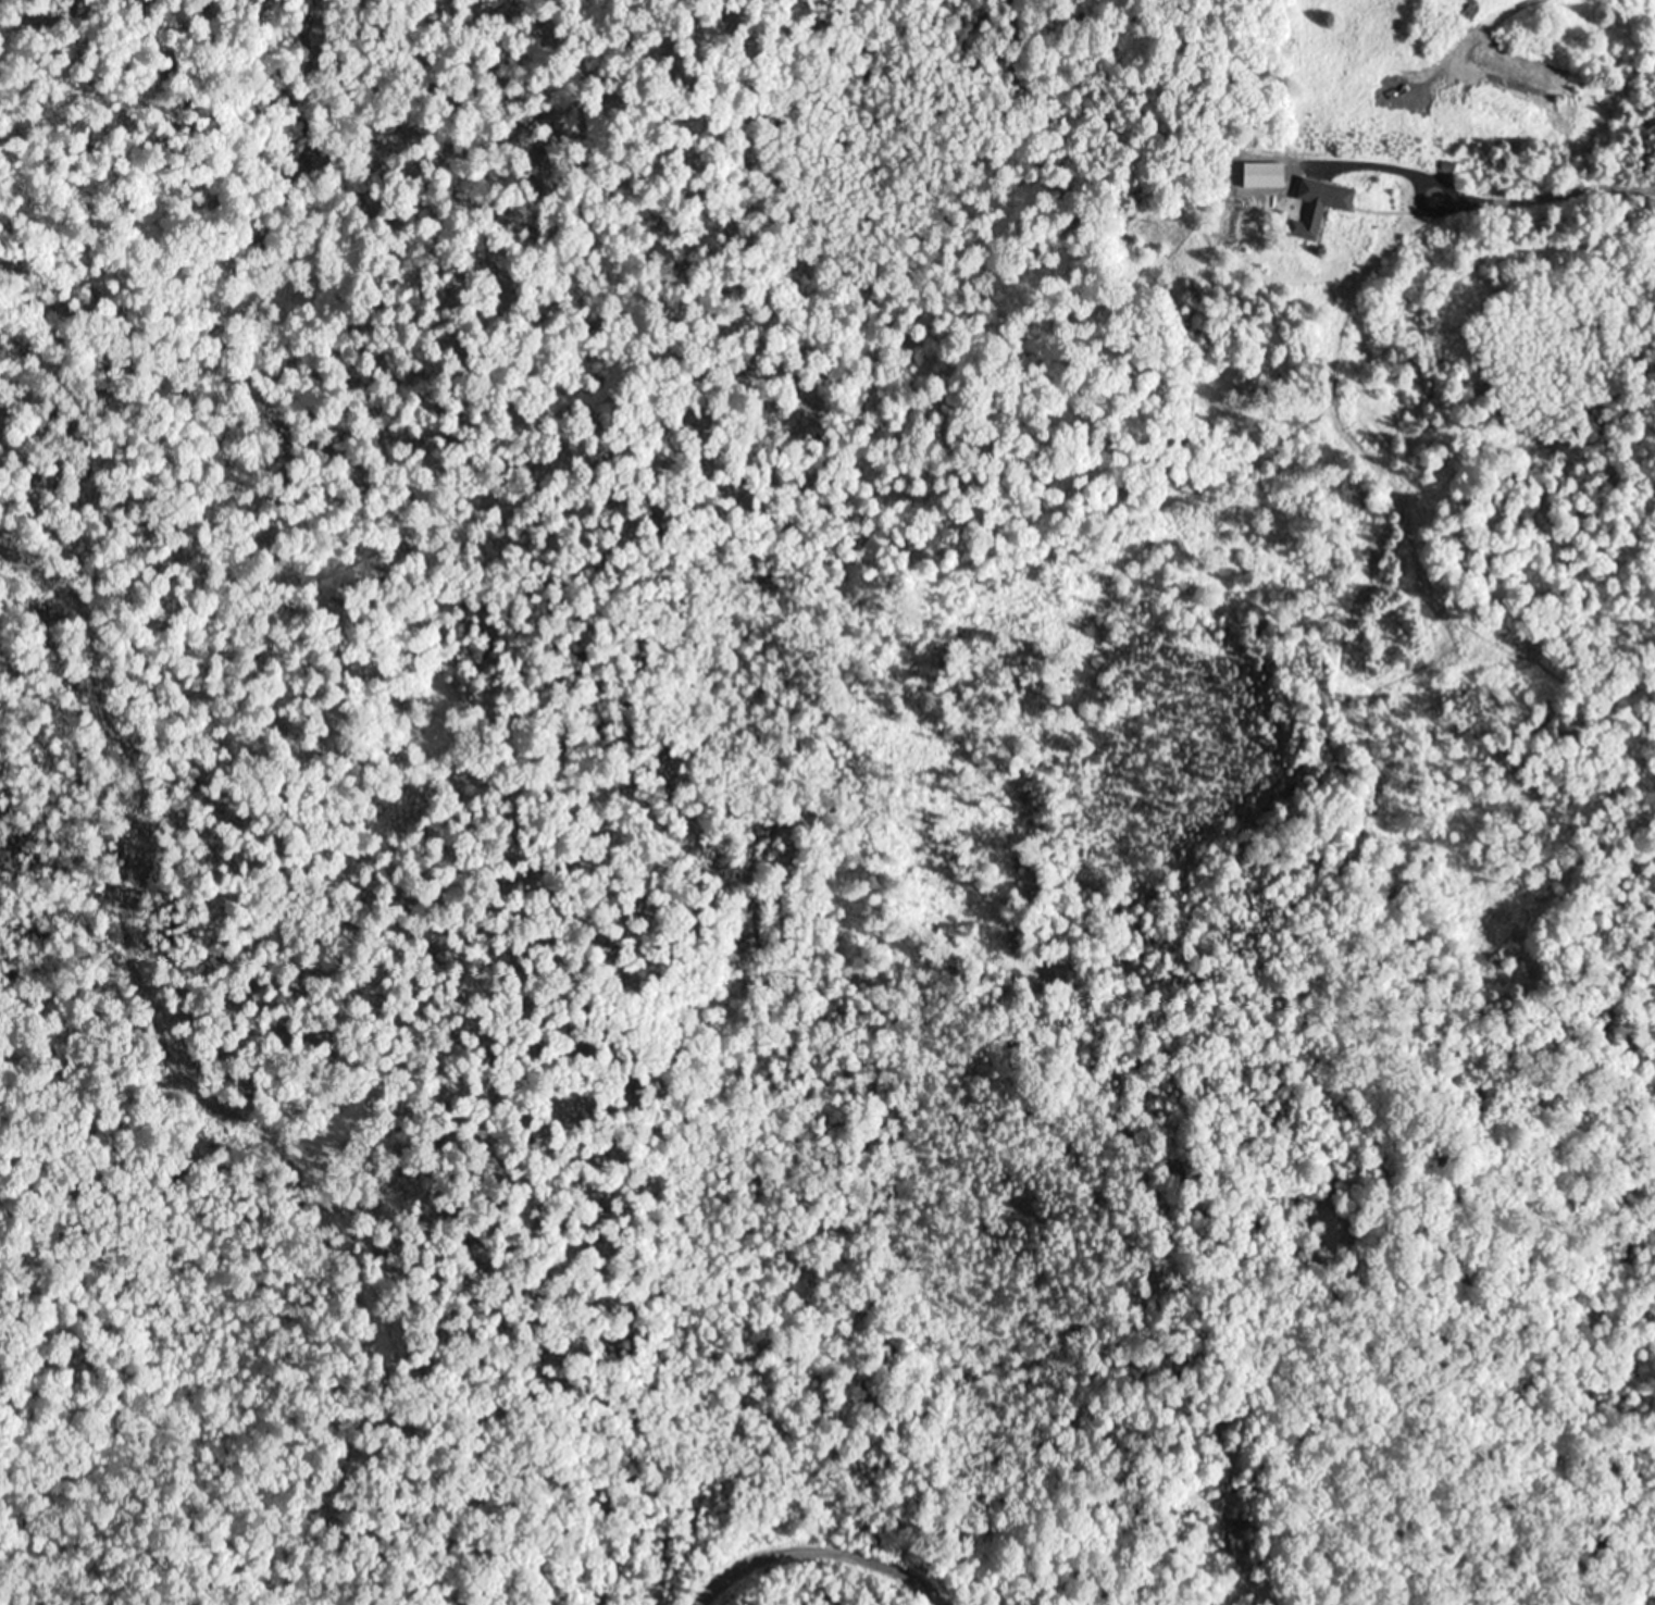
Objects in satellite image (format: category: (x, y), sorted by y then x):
road: (818, 1529)

